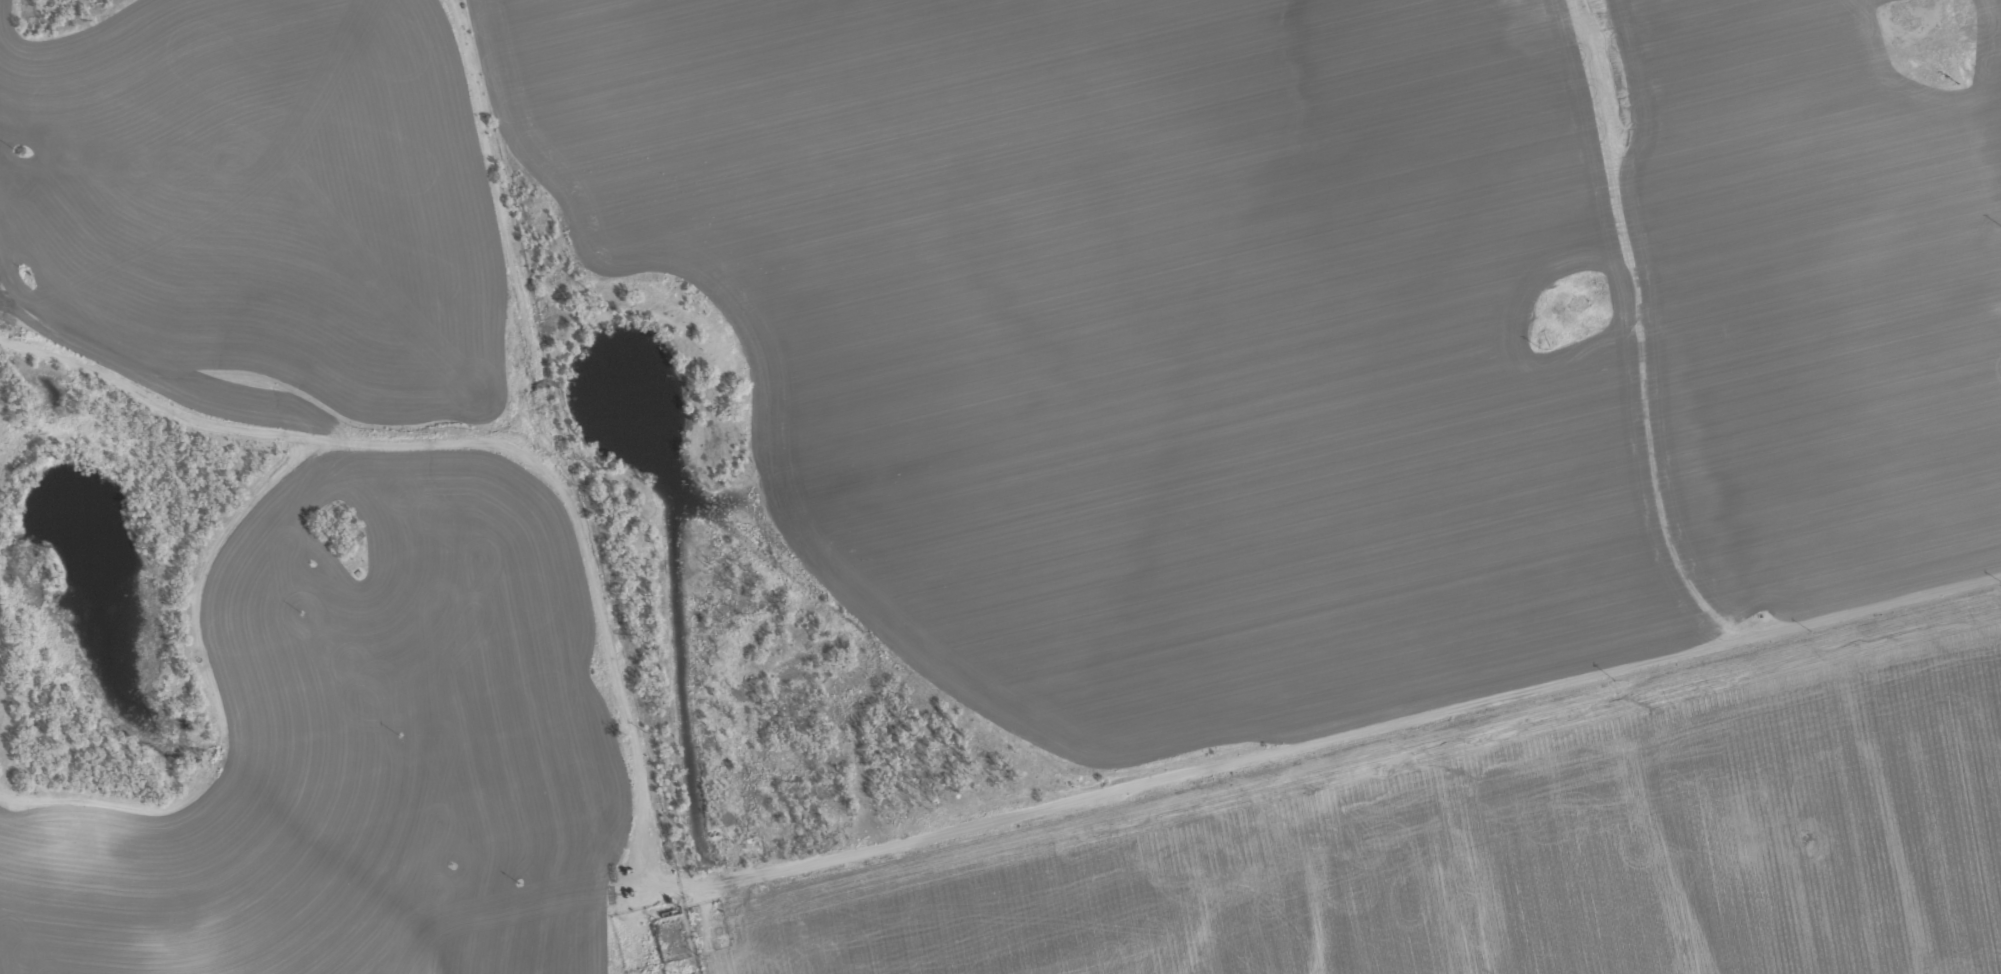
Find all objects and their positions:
road: (1974, 105)
road: (525, 217)
road: (339, 557)
road: (955, 809)

